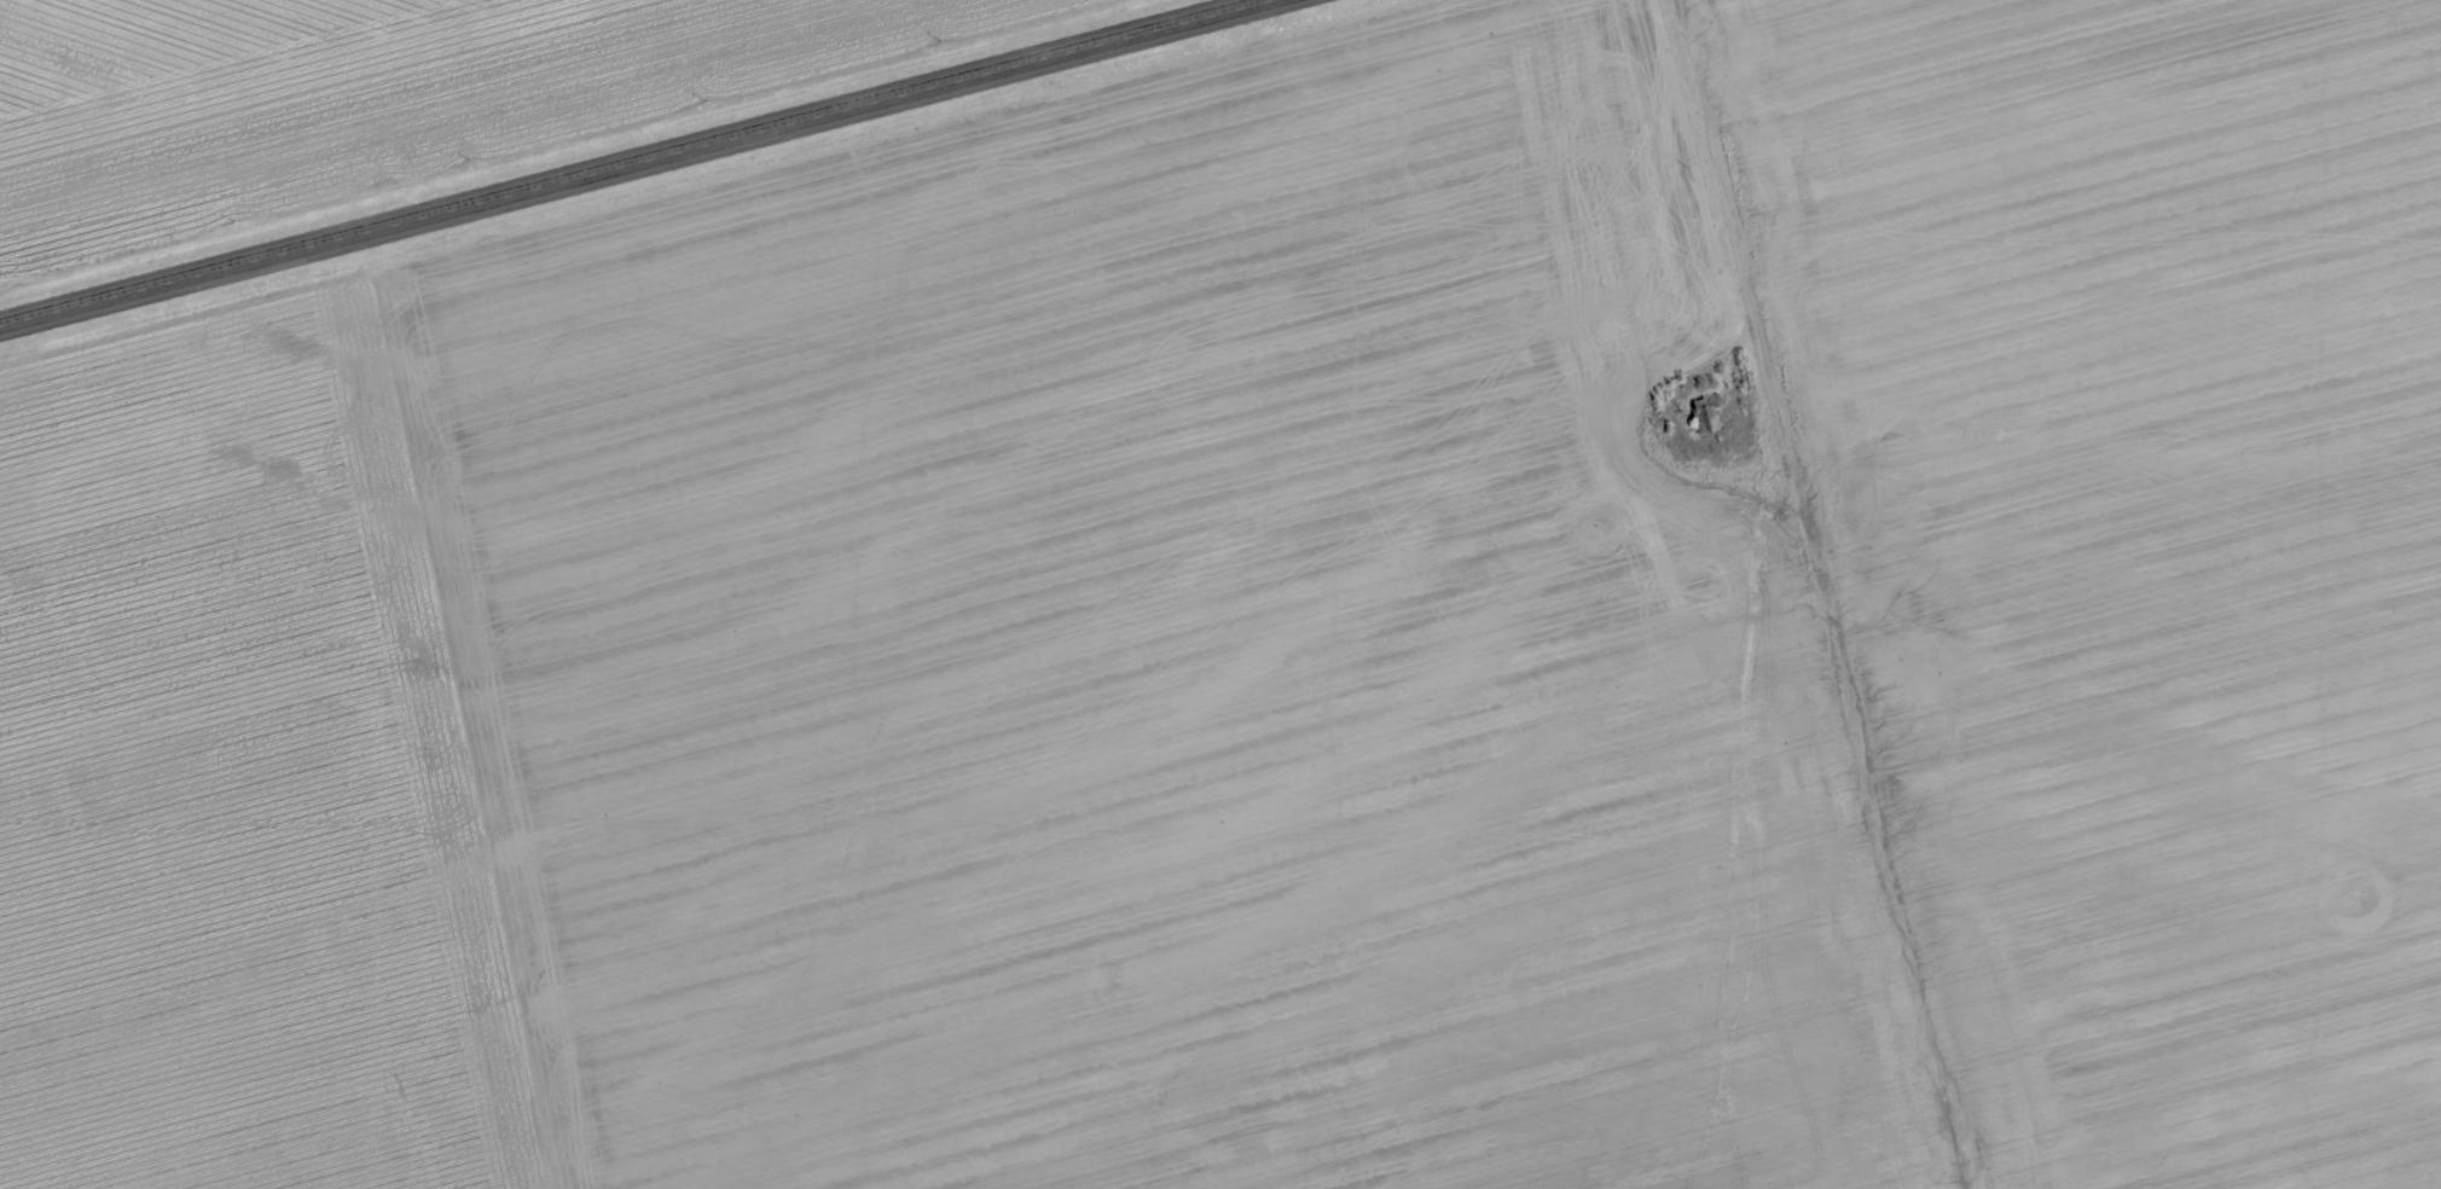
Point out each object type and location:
railway: (336, 83)
road: (1677, 158)
road: (624, 161)

